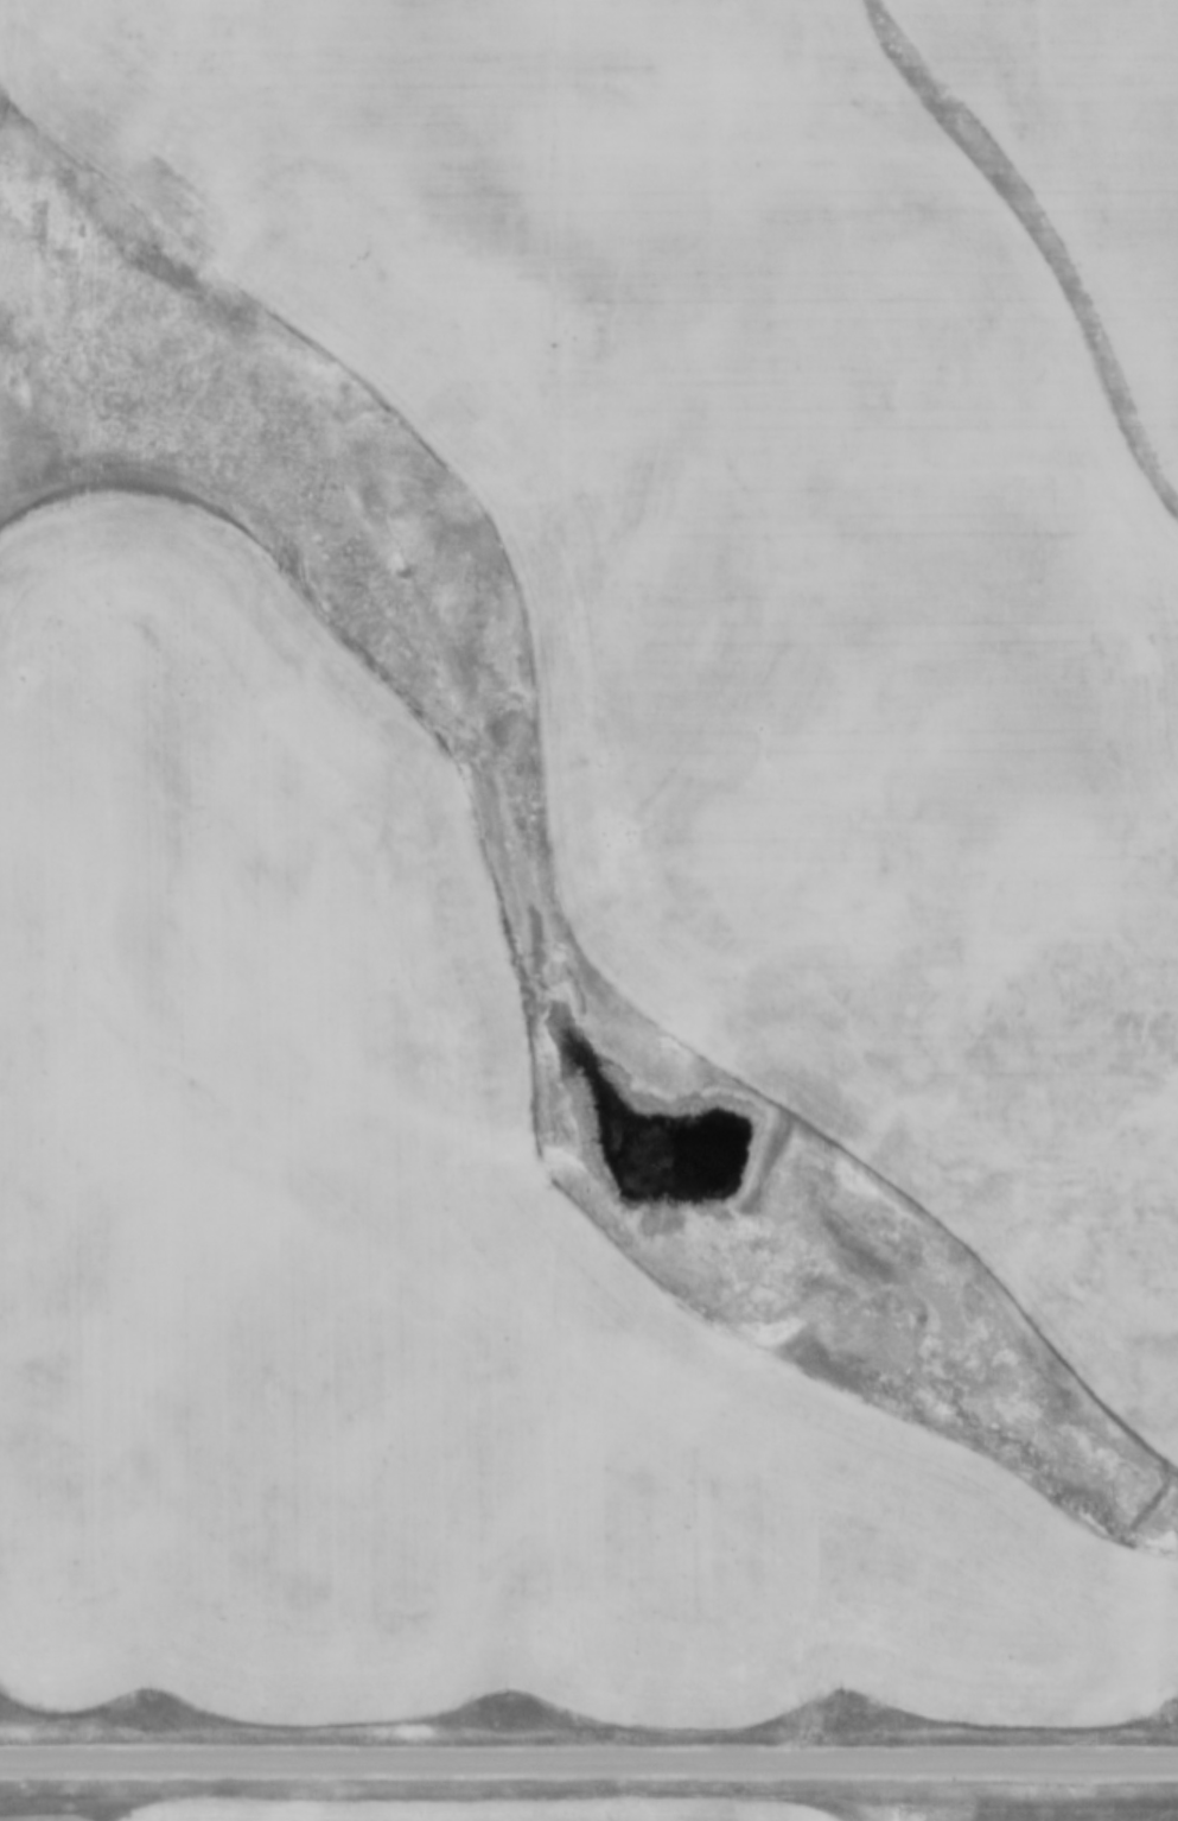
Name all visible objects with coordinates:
road: (588, 1766)

